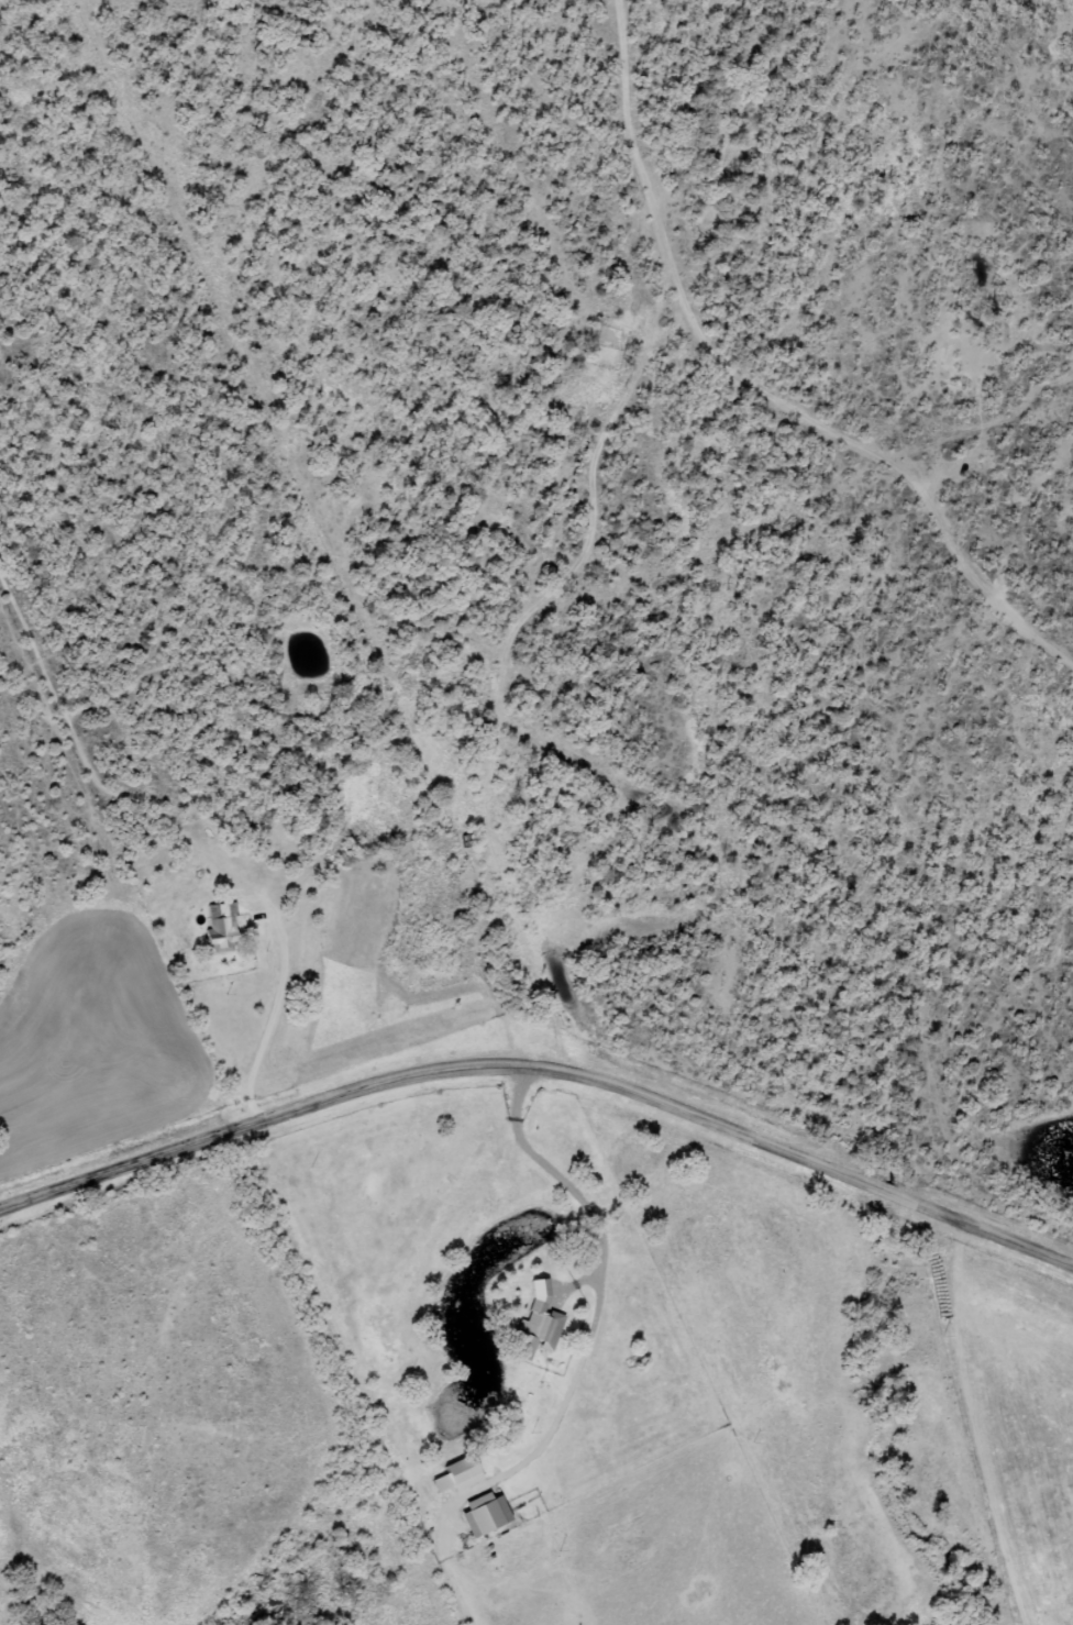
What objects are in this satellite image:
building: (220, 929)
road: (543, 1065)
building: (534, 1331)
road: (486, 1353)
building: (483, 1517)

